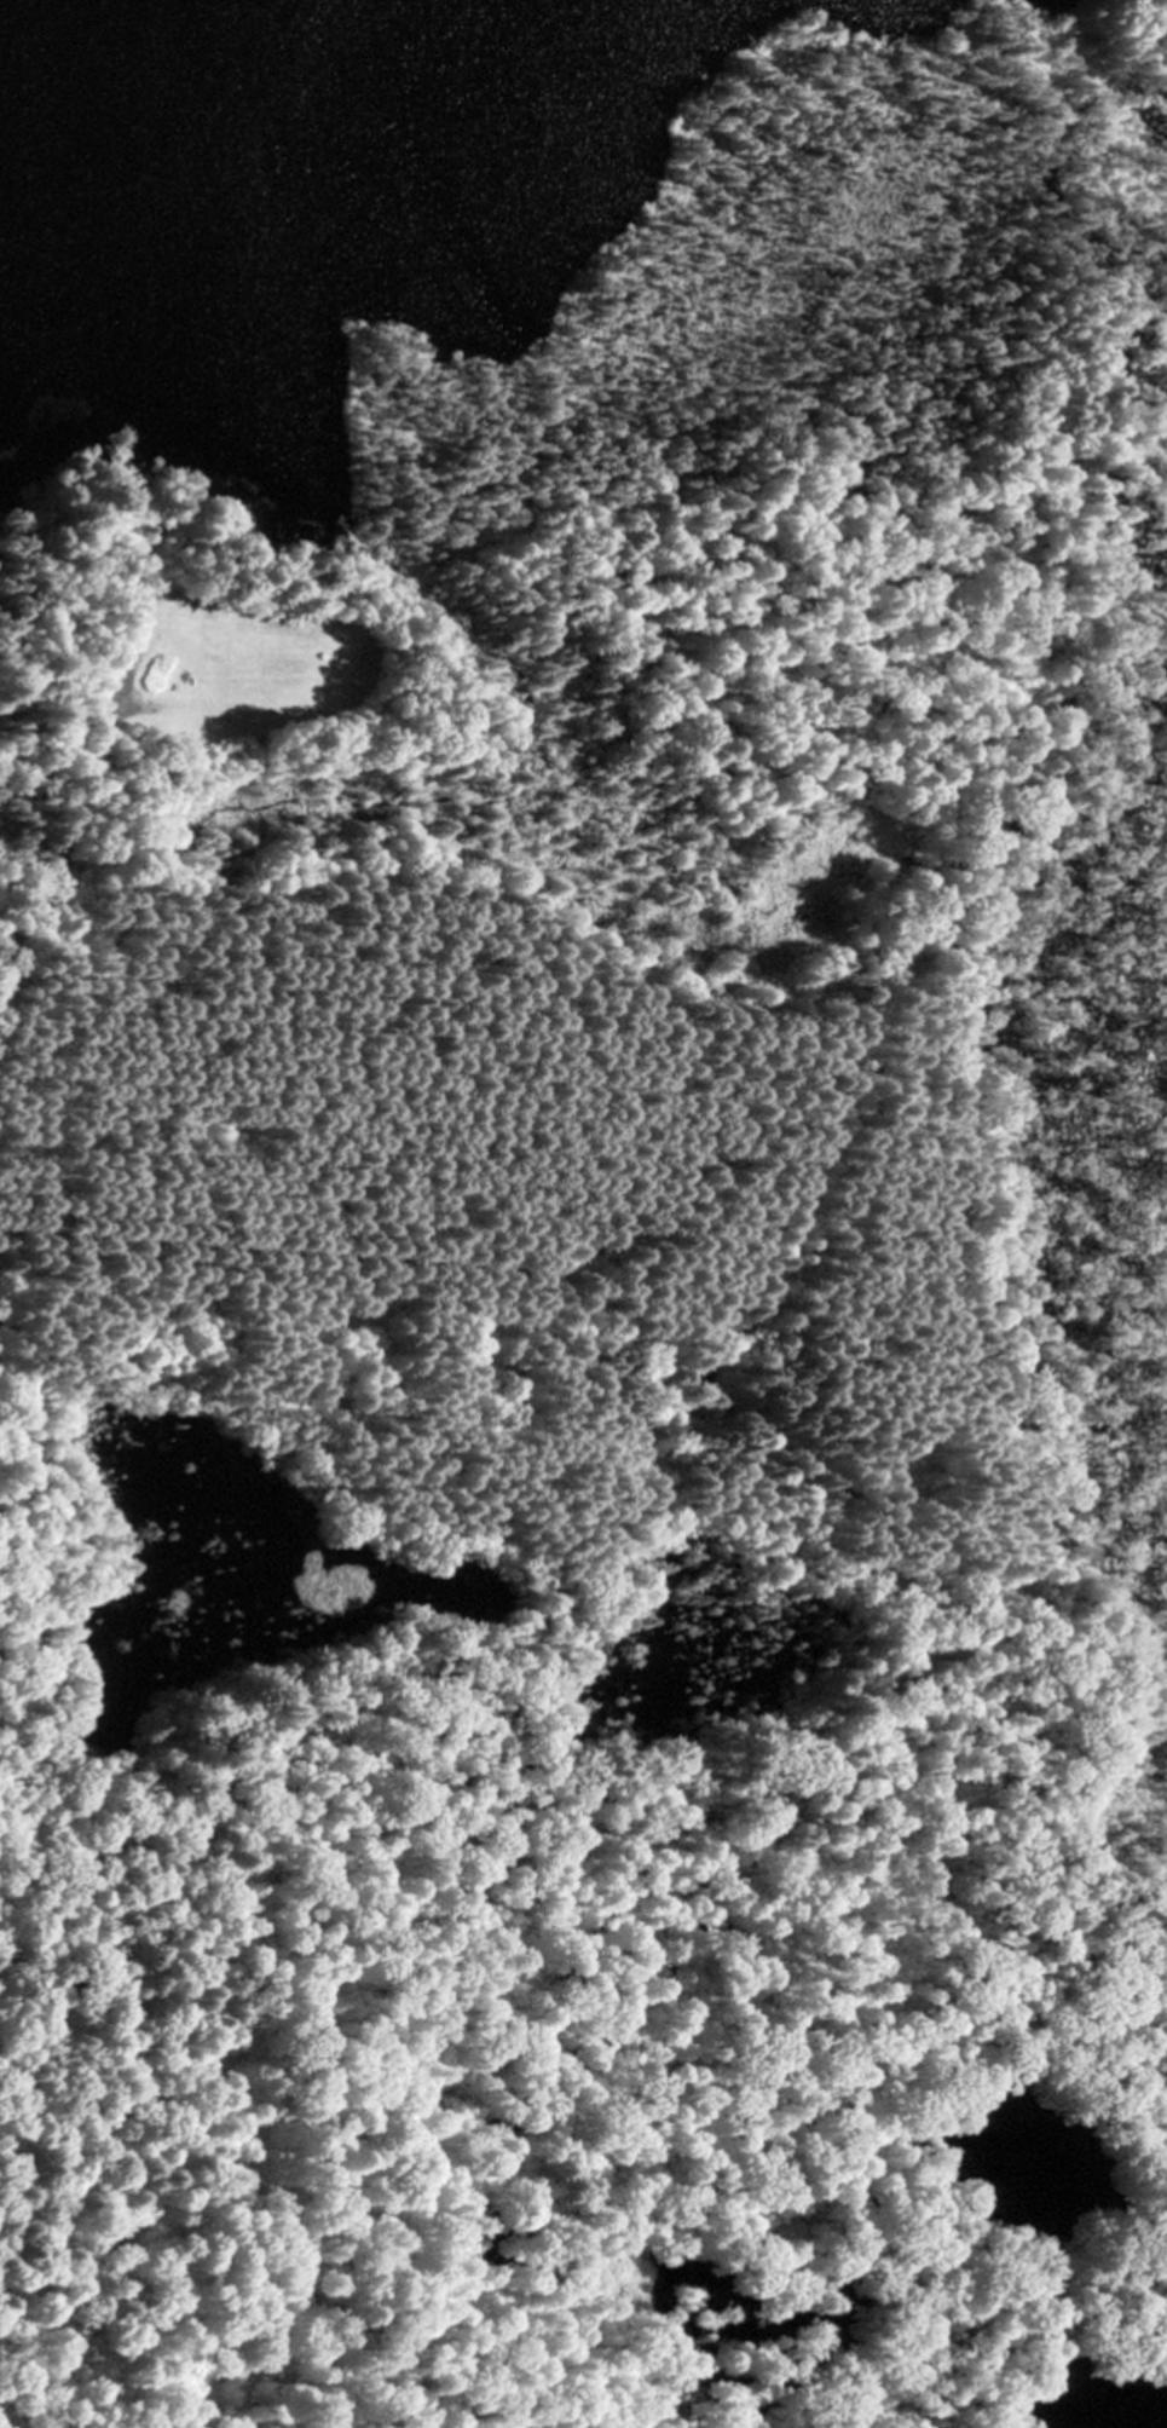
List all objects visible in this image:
building: (276, 618)
park: (601, 704)
building: (187, 727)
road: (83, 777)
road: (512, 1426)
road: (1005, 1916)
road: (1163, 2190)
road: (1161, 2236)
road: (1044, 2323)

